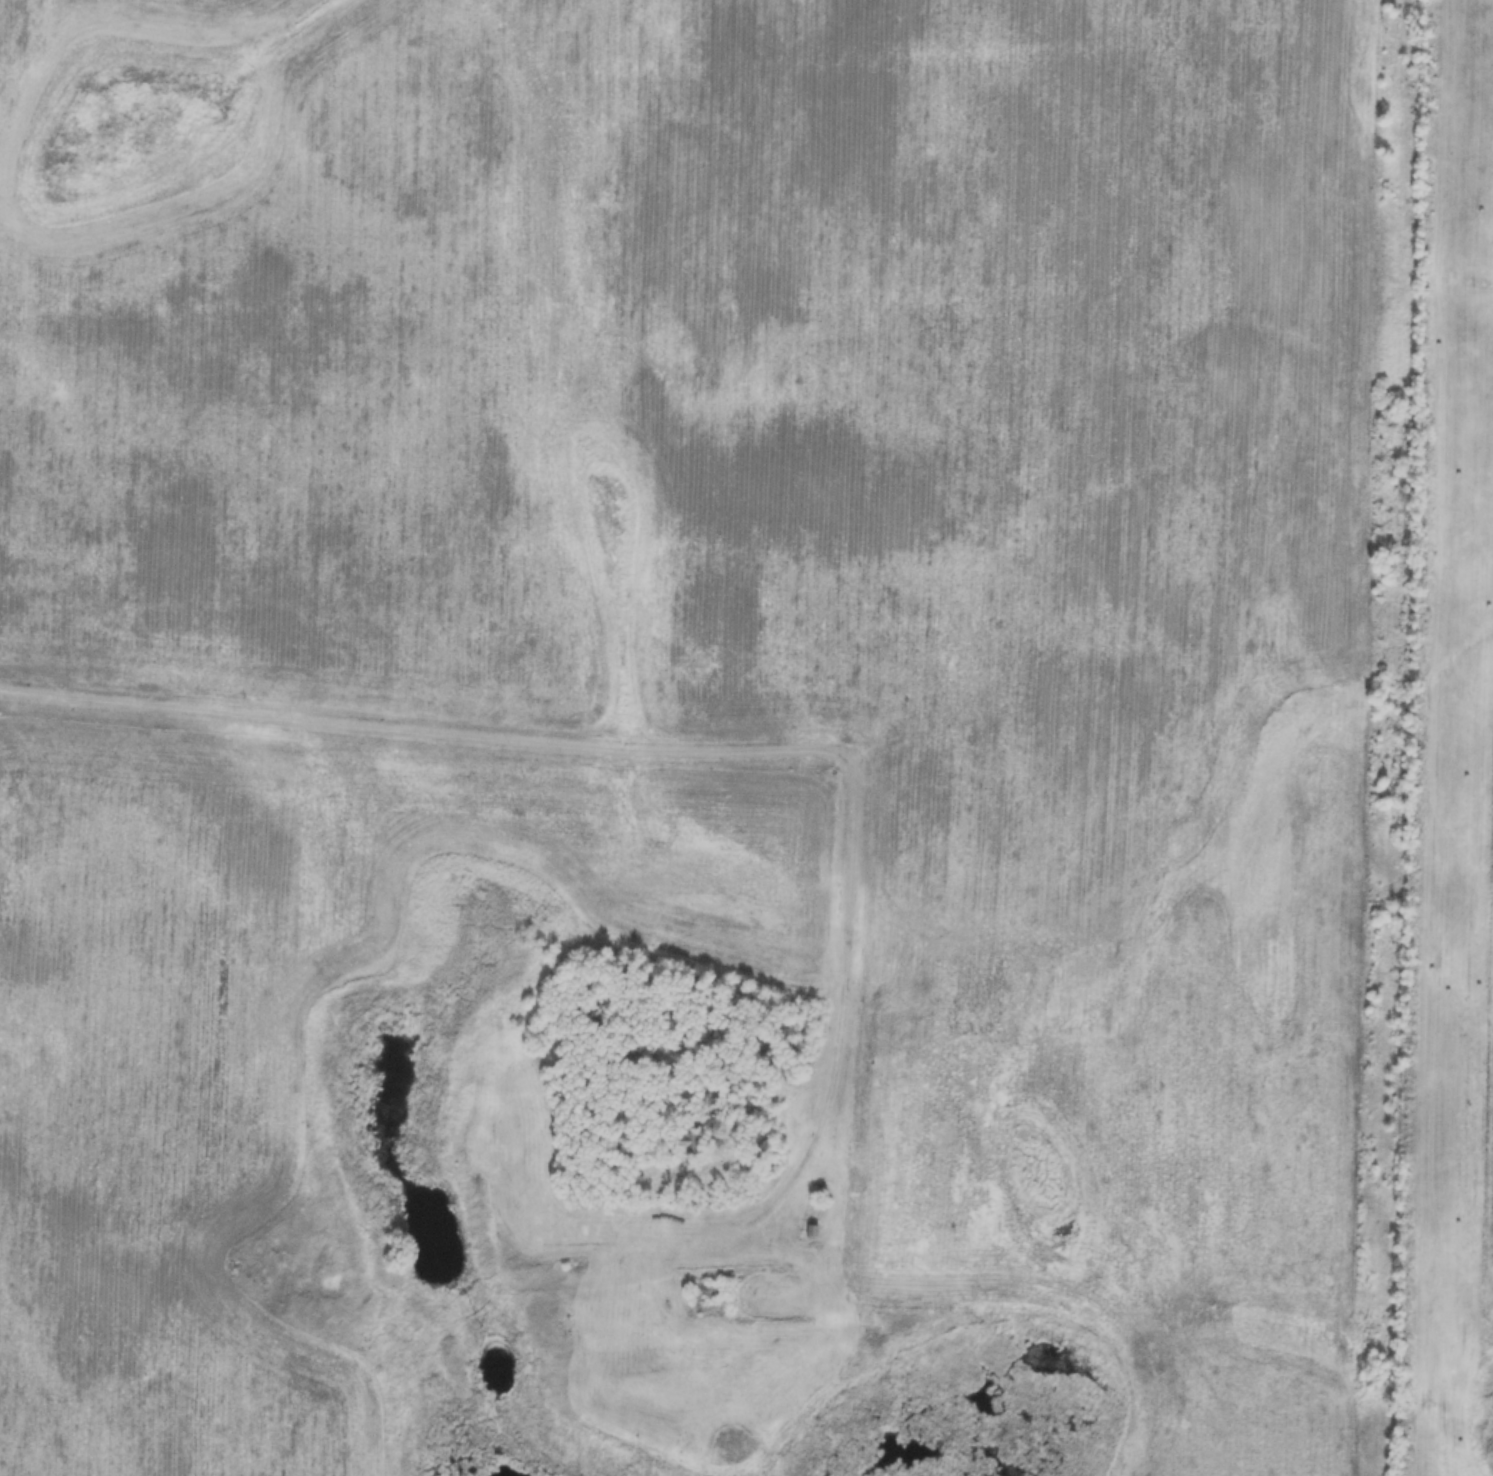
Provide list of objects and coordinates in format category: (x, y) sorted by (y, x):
river: (156, 150)
building: (687, 1143)
building: (819, 1193)
building: (801, 1225)

